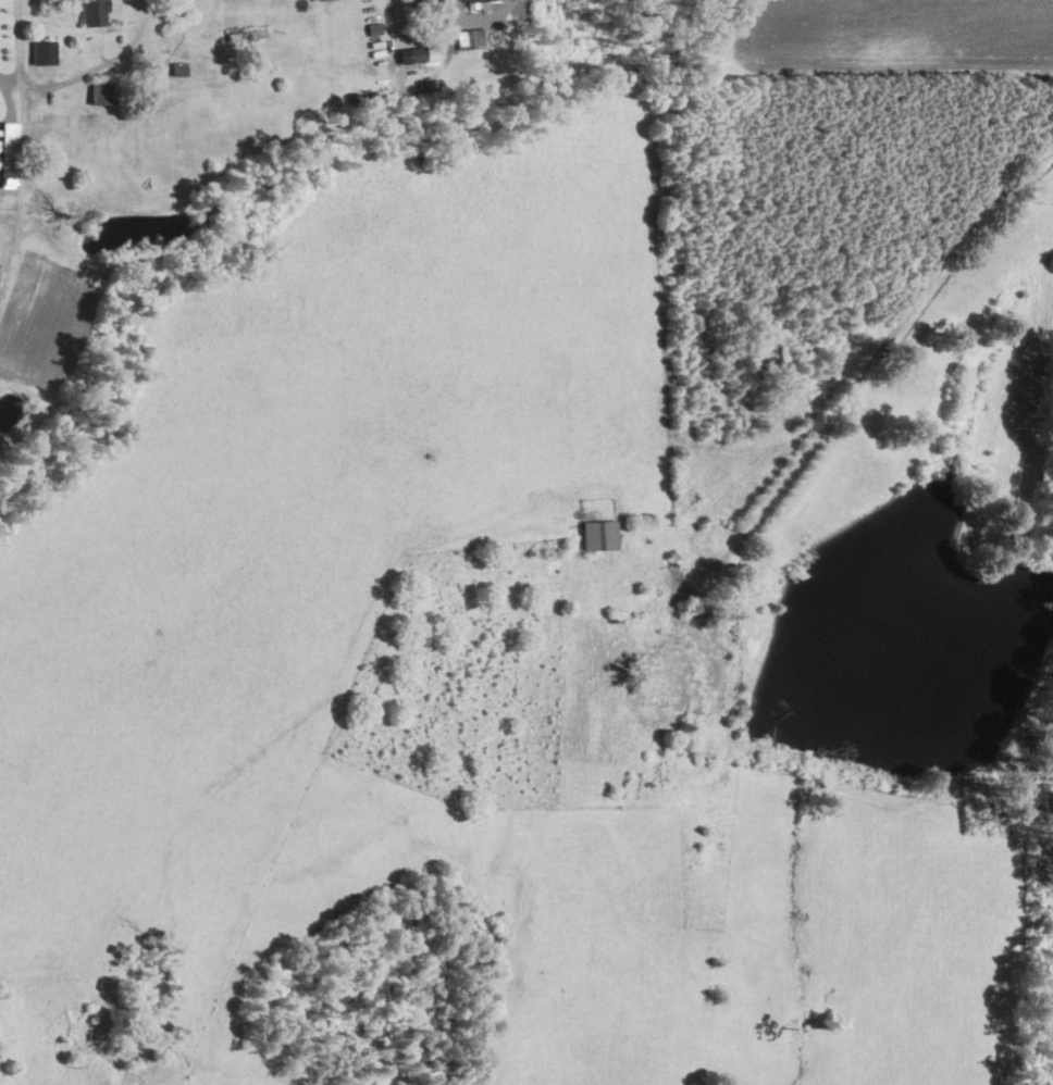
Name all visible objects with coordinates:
building: (479, 0)
building: (412, 3)
building: (90, 12)
building: (245, 36)
building: (467, 39)
building: (429, 55)
building: (42, 57)
road: (18, 88)
building: (7, 154)
road: (915, 301)
building: (596, 535)
building: (714, 539)
building: (689, 669)

